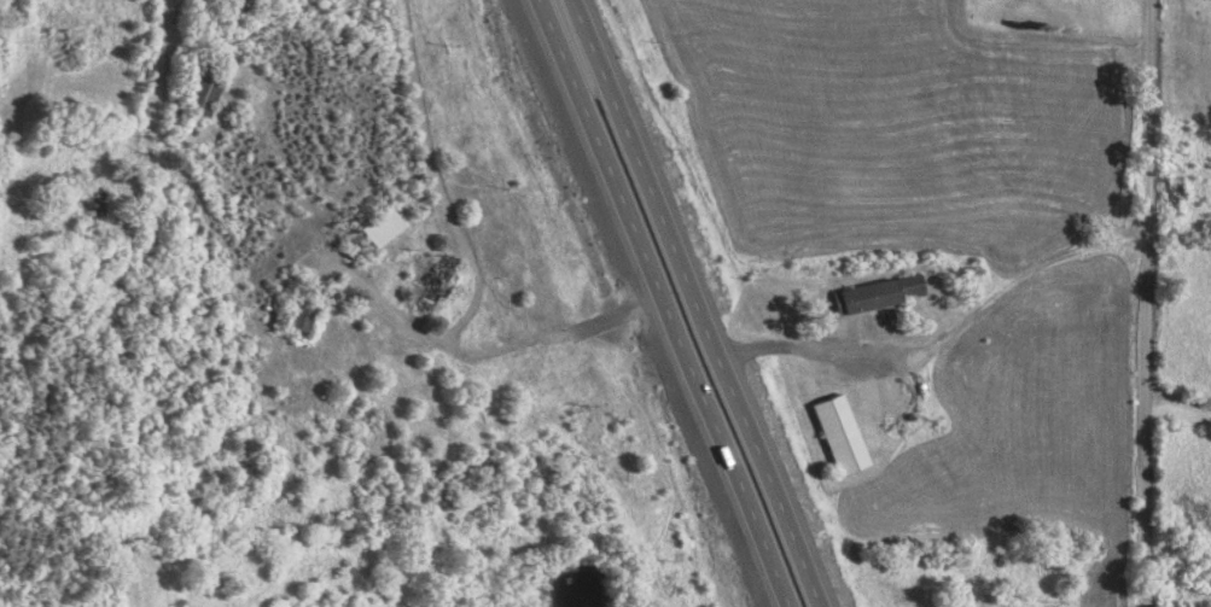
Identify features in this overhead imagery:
building: (200, 95)
building: (377, 227)
road: (461, 238)
building: (909, 285)
building: (867, 297)
road: (660, 303)
road: (695, 303)
road: (1147, 303)
building: (298, 315)
road: (1178, 401)
building: (838, 434)

